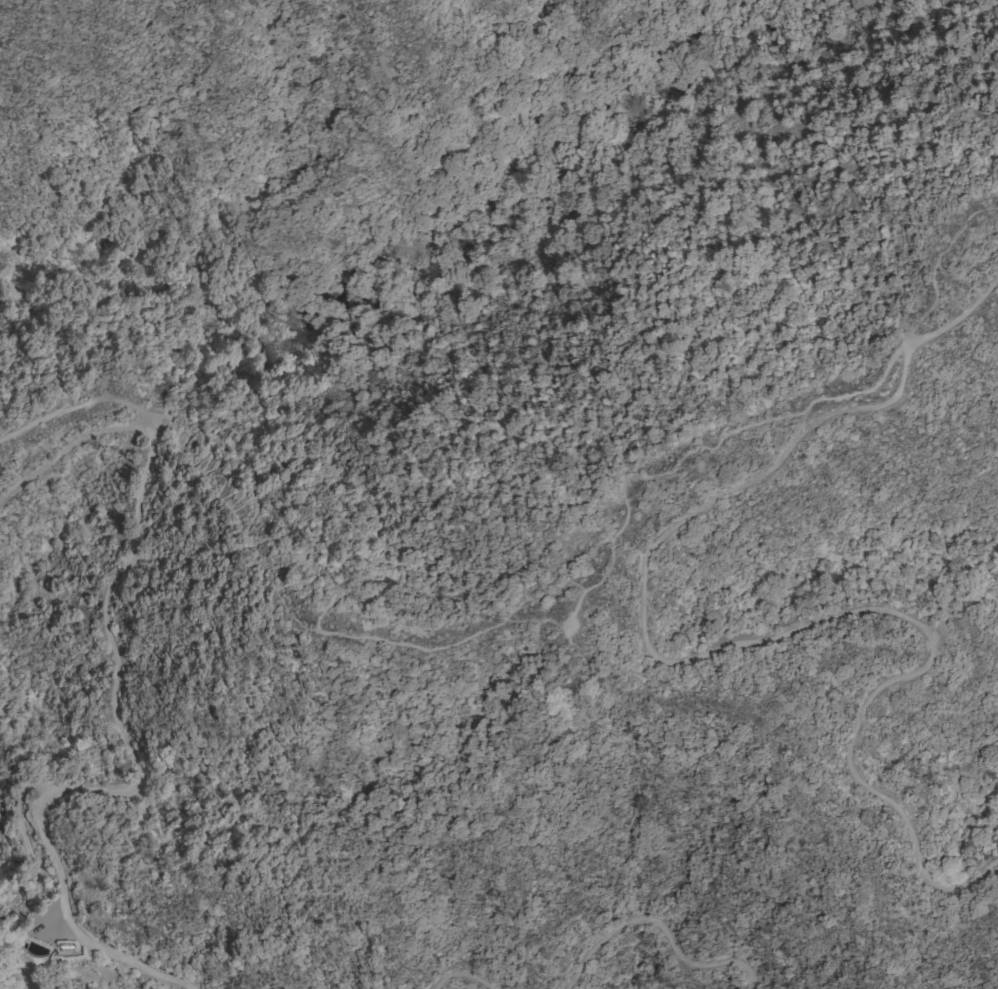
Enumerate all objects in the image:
road: (75, 408)
road: (607, 568)
road: (709, 653)
road: (116, 696)
road: (662, 929)
road: (465, 975)

